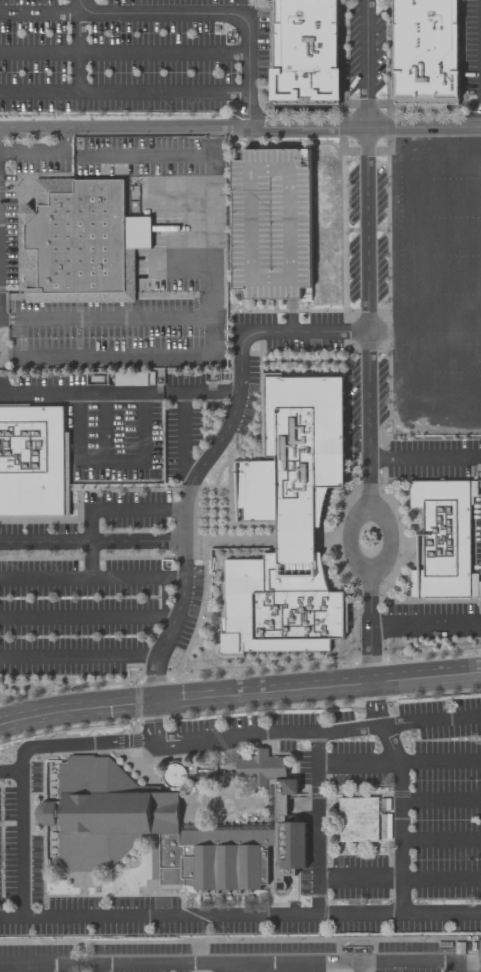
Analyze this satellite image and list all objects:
road: (48, 12)
road: (211, 12)
parking lot: (366, 49)
building: (307, 51)
building: (426, 51)
road: (77, 52)
parking lot: (473, 53)
road: (123, 54)
parking lot: (133, 55)
road: (123, 94)
road: (424, 113)
road: (303, 114)
road: (240, 124)
road: (252, 134)
road: (44, 151)
road: (147, 153)
building: (272, 221)
parking garage: (272, 221)
building: (81, 241)
road: (369, 256)
road: (292, 313)
road: (190, 315)
road: (287, 329)
road: (115, 355)
road: (38, 390)
road: (181, 408)
building: (295, 451)
road: (425, 456)
road: (144, 458)
building: (33, 460)
road: (122, 507)
road: (364, 515)
road: (242, 537)
building: (442, 537)
road: (296, 538)
road: (327, 538)
road: (92, 542)
road: (185, 544)
road: (91, 559)
road: (92, 576)
building: (279, 604)
road: (202, 606)
road: (88, 617)
road: (370, 618)
road: (426, 623)
road: (438, 653)
road: (80, 654)
road: (371, 658)
road: (360, 659)
road: (397, 661)
road: (139, 664)
road: (262, 668)
road: (426, 668)
road: (155, 677)
road: (179, 680)
road: (372, 680)
road: (426, 682)
road: (132, 685)
road: (66, 686)
road: (188, 691)
road: (378, 696)
road: (370, 698)
road: (139, 702)
road: (185, 704)
road: (3, 714)
road: (383, 715)
road: (373, 720)
road: (432, 720)
road: (138, 731)
road: (253, 733)
road: (137, 739)
road: (78, 744)
parking lot: (462, 744)
road: (60, 753)
road: (7, 755)
road: (297, 755)
road: (399, 763)
road: (28, 766)
building: (262, 766)
road: (11, 773)
building: (212, 775)
road: (148, 780)
road: (298, 785)
road: (360, 786)
road: (397, 793)
road: (319, 794)
road: (441, 798)
building: (272, 803)
road: (32, 813)
building: (116, 816)
parking lot: (412, 816)
road: (402, 817)
building: (359, 818)
road: (329, 819)
road: (317, 822)
rooftop solar panel: (80, 828)
building: (288, 836)
road: (441, 837)
road: (349, 842)
road: (22, 844)
road: (383, 846)
parking lot: (21, 847)
road: (362, 852)
building: (226, 857)
road: (340, 866)
road: (276, 875)
road: (44, 877)
road: (399, 879)
road: (271, 880)
road: (34, 884)
road: (88, 887)
road: (161, 889)
road: (113, 894)
road: (298, 896)
road: (184, 897)
road: (279, 904)
road: (82, 906)
road: (154, 906)
road: (240, 915)
road: (56, 941)
parking lot: (239, 957)
road: (234, 962)
road: (469, 966)
road: (66, 968)

